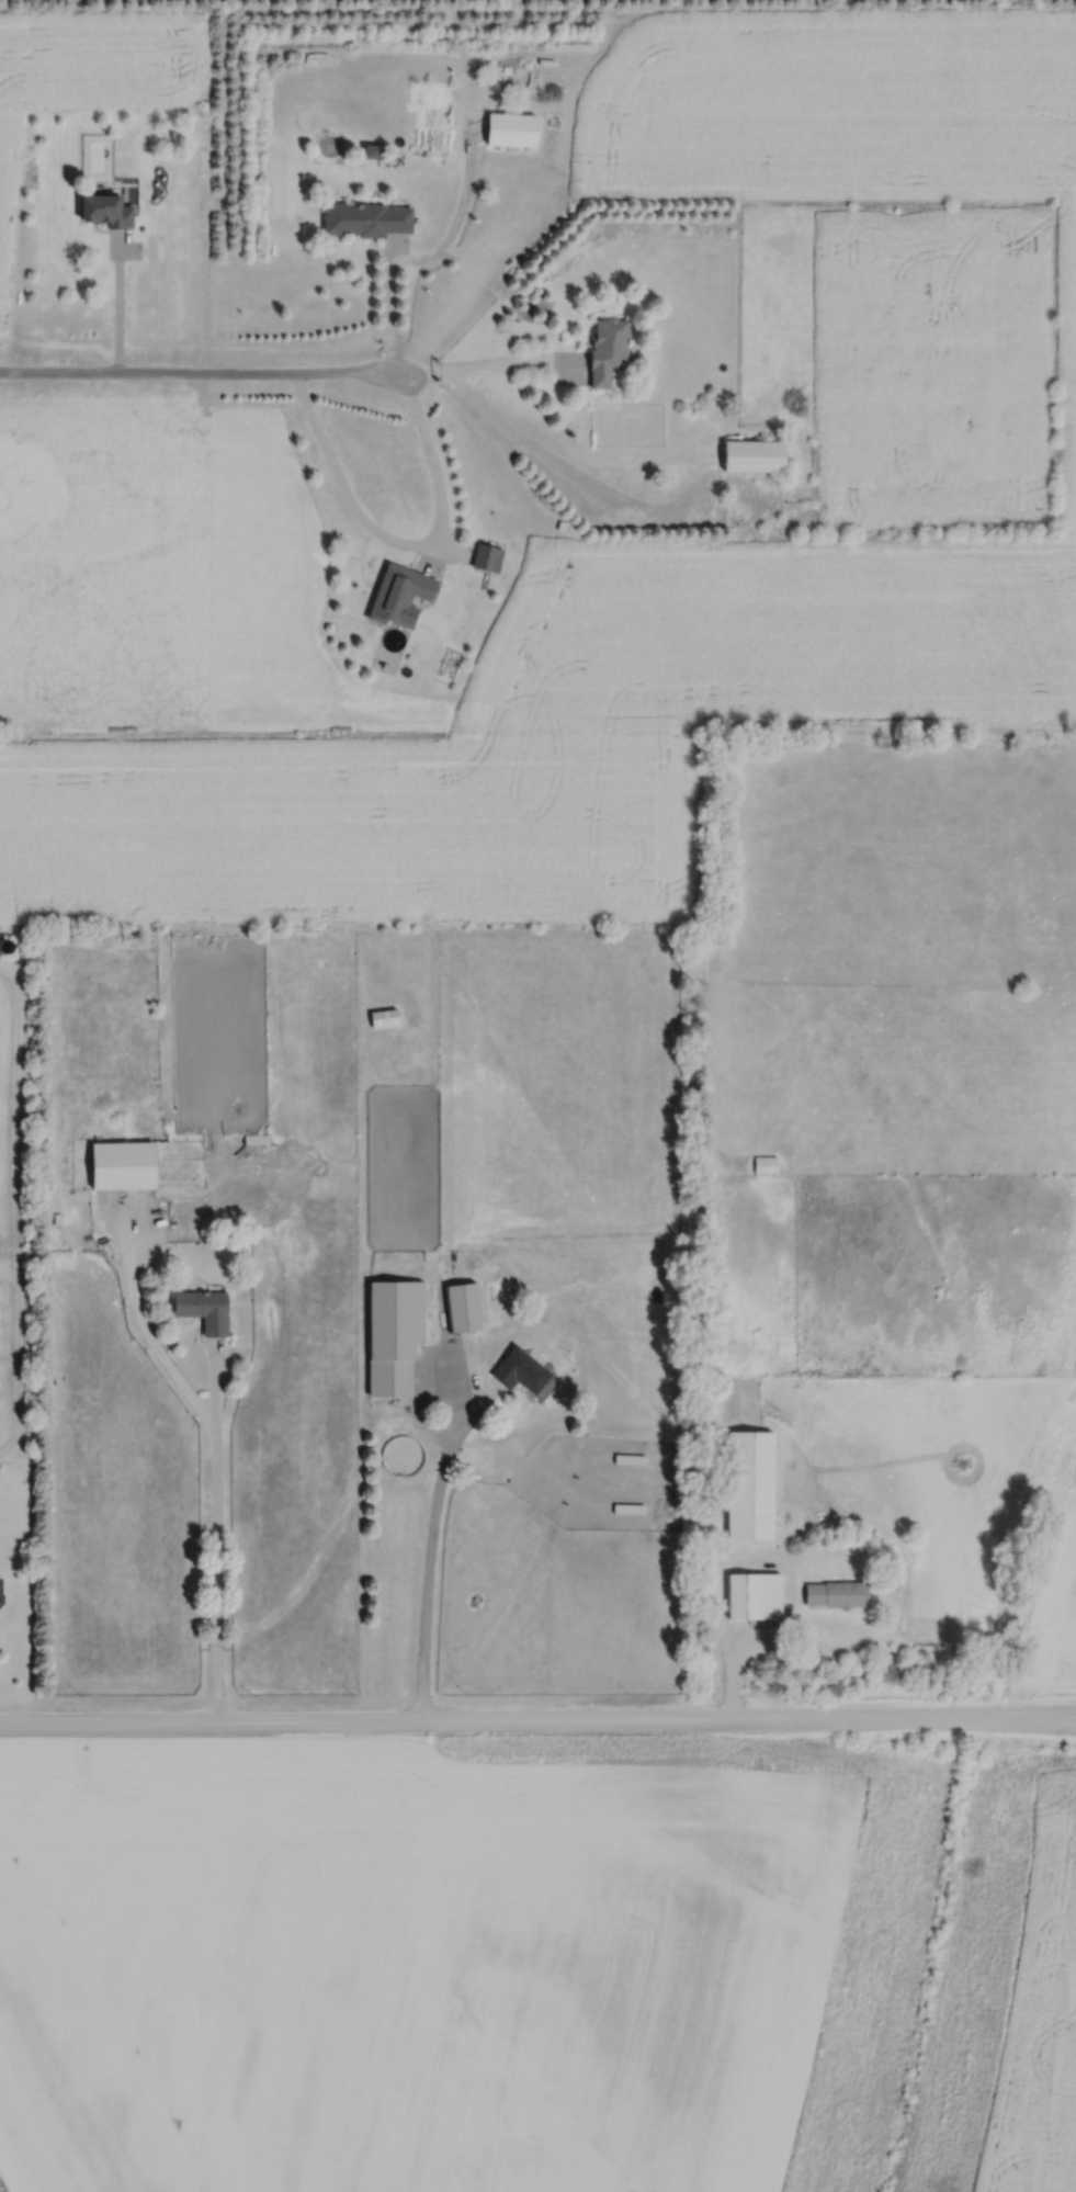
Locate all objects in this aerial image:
building: (511, 129)
building: (106, 211)
building: (366, 219)
road: (118, 303)
road: (388, 307)
building: (608, 349)
road: (483, 364)
road: (197, 369)
building: (755, 457)
road: (400, 542)
building: (487, 558)
building: (400, 596)
building: (123, 1164)
building: (766, 1164)
building: (463, 1307)
building: (204, 1309)
building: (393, 1336)
building: (520, 1370)
road: (213, 1456)
building: (749, 1485)
road: (429, 1548)
building: (0, 1591)
building: (836, 1594)
building: (754, 1595)
road: (537, 1714)

